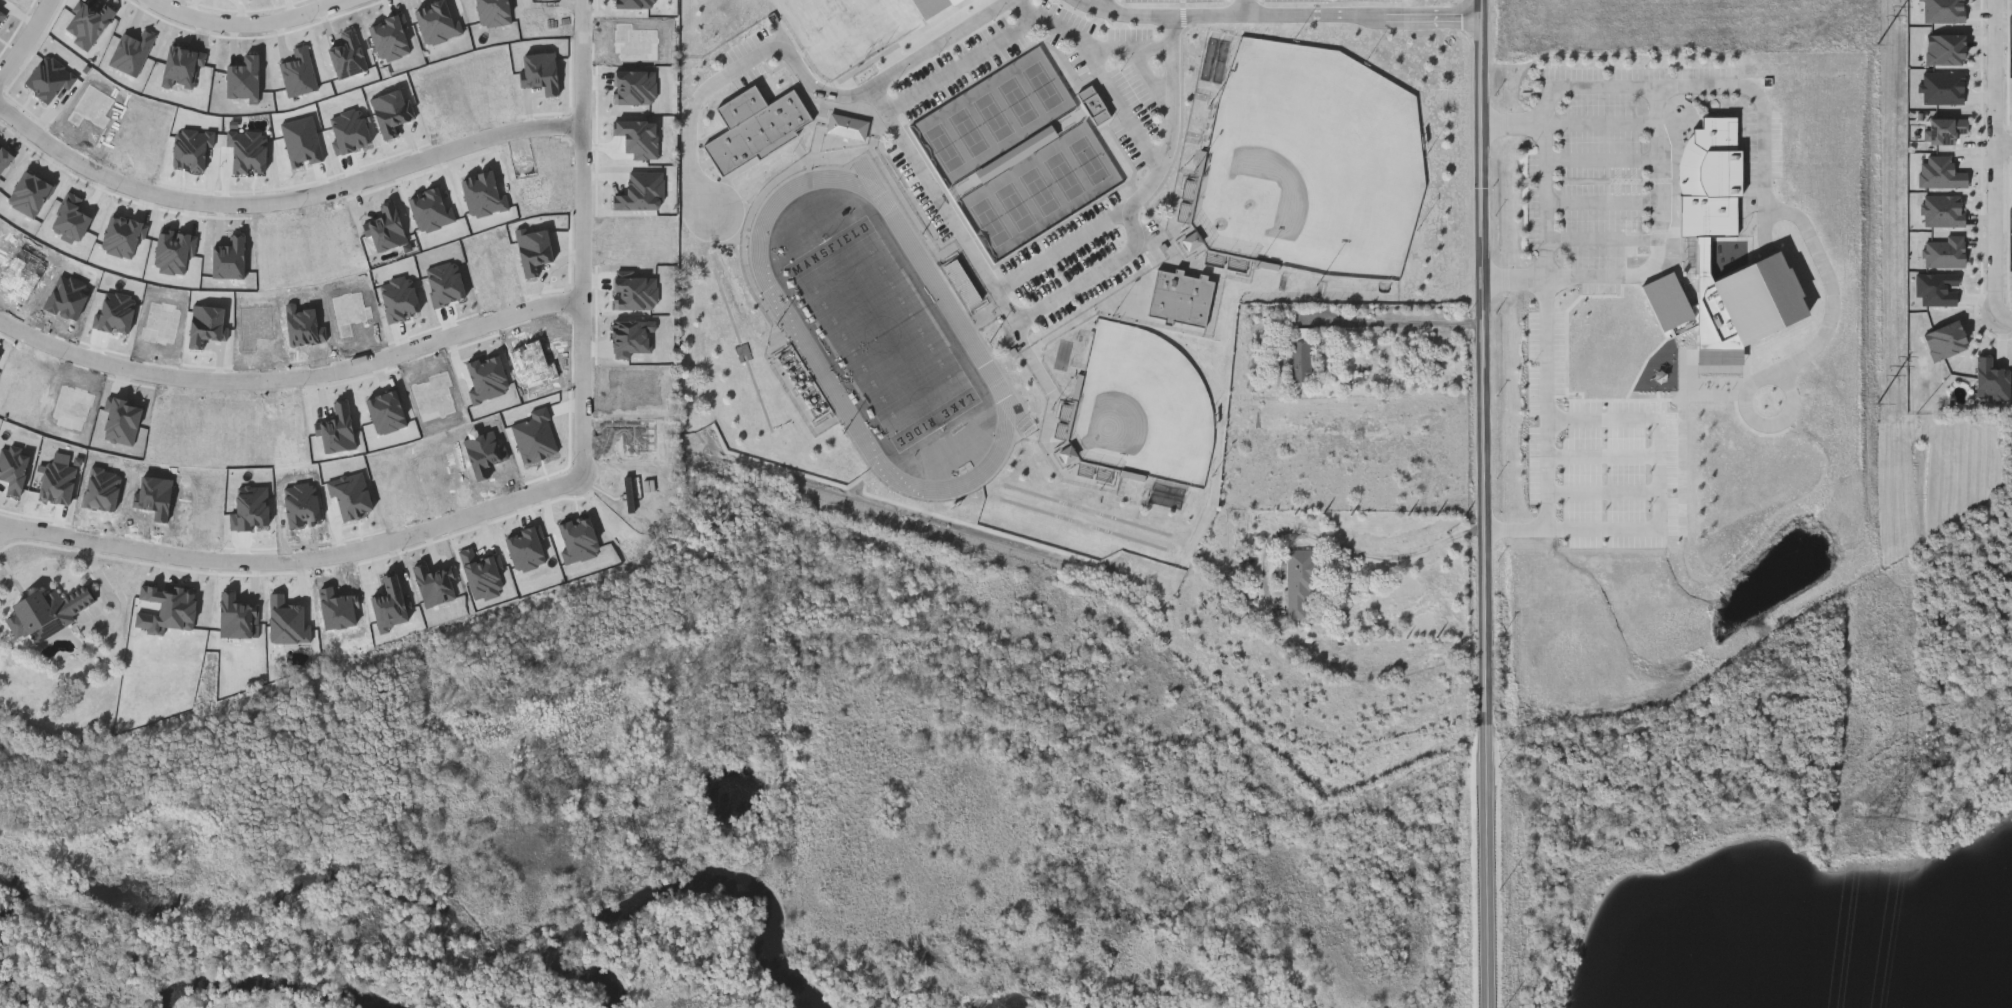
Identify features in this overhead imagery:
road: (1100, 5)
road: (1247, 7)
road: (1278, 14)
road: (250, 25)
road: (1093, 40)
road: (28, 41)
power tower: (1879, 44)
road: (967, 64)
road: (798, 66)
road: (1154, 82)
park: (1043, 85)
park: (1018, 100)
road: (1122, 104)
building: (747, 114)
park: (994, 115)
road: (1603, 124)
park: (969, 130)
road: (2003, 140)
park: (944, 146)
road: (1995, 157)
road: (1659, 158)
park: (1089, 159)
road: (1603, 160)
park: (1312, 162)
building: (1714, 166)
park: (1065, 174)
park: (1040, 190)
road: (1146, 193)
road: (1548, 199)
road: (284, 201)
road: (1603, 202)
park: (1015, 205)
road: (1776, 205)
road: (947, 213)
park: (991, 221)
road: (582, 238)
road: (1603, 239)
road: (1101, 273)
building: (1182, 301)
road: (2008, 315)
road: (1400, 325)
park: (882, 332)
track: (801, 337)
building: (1303, 363)
road: (291, 379)
road: (1746, 398)
power tower: (1876, 399)
park: (1143, 407)
road: (1548, 431)
road: (1604, 454)
road: (1661, 471)
road: (1605, 491)
building: (269, 504)
road: (1484, 504)
building: (241, 538)
road: (1370, 554)
road: (295, 559)
building: (1303, 586)
building: (46, 612)
power tower: (1879, 816)

